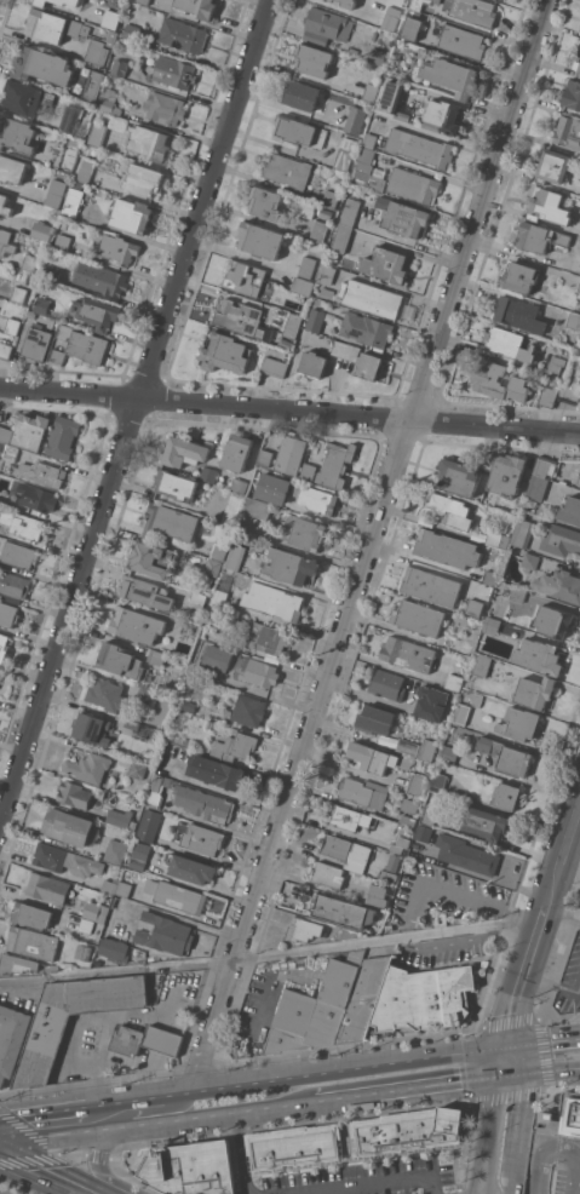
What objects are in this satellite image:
building: (69, 1)
building: (144, 1)
building: (41, 2)
building: (345, 2)
building: (415, 4)
building: (199, 7)
building: (475, 11)
building: (391, 18)
building: (111, 19)
building: (53, 25)
building: (326, 27)
building: (412, 28)
building: (130, 30)
building: (183, 35)
building: (111, 38)
building: (463, 41)
building: (97, 52)
building: (378, 56)
building: (314, 59)
building: (576, 61)
building: (117, 63)
building: (42, 65)
building: (174, 71)
building: (453, 76)
building: (92, 85)
building: (371, 92)
building: (302, 94)
building: (572, 94)
building: (23, 97)
building: (389, 97)
building: (108, 99)
building: (165, 108)
building: (444, 115)
building: (70, 119)
building: (355, 119)
building: (299, 131)
building: (568, 132)
building: (97, 133)
road: (430, 133)
building: (17, 134)
building: (368, 139)
building: (150, 143)
building: (420, 147)
building: (344, 150)
building: (579, 150)
building: (68, 157)
building: (552, 166)
building: (11, 168)
building: (86, 170)
building: (286, 170)
building: (368, 170)
building: (143, 179)
building: (414, 185)
building: (56, 193)
building: (331, 197)
building: (73, 202)
building: (265, 202)
building: (5, 205)
building: (547, 205)
building: (306, 207)
building: (350, 211)
building: (326, 213)
building: (132, 216)
building: (402, 217)
building: (41, 230)
building: (318, 230)
building: (340, 236)
building: (540, 237)
building: (260, 240)
building: (6, 242)
building: (62, 242)
building: (117, 248)
building: (29, 262)
building: (386, 264)
building: (306, 266)
building: (25, 272)
building: (52, 272)
building: (325, 274)
building: (243, 277)
building: (519, 277)
building: (101, 279)
building: (5, 286)
building: (302, 286)
building: (579, 288)
building: (269, 289)
building: (327, 292)
building: (18, 294)
building: (371, 297)
building: (40, 305)
building: (97, 312)
building: (30, 314)
building: (518, 314)
building: (240, 317)
building: (574, 320)
building: (12, 325)
building: (293, 325)
building: (350, 326)
building: (579, 335)
building: (36, 344)
building: (509, 344)
building: (80, 346)
building: (5, 350)
building: (346, 350)
building: (225, 354)
building: (314, 363)
building: (369, 366)
building: (556, 366)
building: (275, 367)
building: (498, 380)
building: (549, 394)
building: (569, 394)
road: (289, 411)
road: (136, 414)
building: (31, 431)
building: (5, 434)
building: (63, 436)
building: (185, 450)
building: (10, 452)
building: (237, 452)
building: (291, 454)
building: (265, 457)
building: (488, 460)
building: (337, 464)
building: (545, 465)
building: (310, 471)
building: (42, 472)
building: (209, 473)
building: (507, 473)
building: (459, 476)
building: (579, 482)
building: (240, 483)
building: (176, 484)
building: (272, 487)
building: (535, 493)
building: (40, 498)
building: (316, 499)
building: (488, 499)
building: (283, 500)
building: (232, 507)
building: (257, 507)
building: (452, 510)
building: (570, 510)
building: (170, 521)
building: (24, 523)
building: (206, 529)
building: (309, 532)
building: (521, 532)
building: (478, 536)
building: (240, 538)
building: (498, 539)
building: (559, 539)
road: (373, 544)
building: (447, 549)
building: (219, 550)
building: (19, 555)
building: (234, 557)
building: (149, 558)
building: (530, 561)
building: (291, 566)
building: (213, 567)
building: (490, 576)
building: (559, 584)
building: (430, 585)
building: (13, 586)
building: (145, 591)
building: (222, 593)
building: (517, 593)
building: (197, 599)
building: (274, 601)
building: (218, 609)
building: (7, 614)
building: (417, 616)
building: (555, 620)
building: (136, 624)
building: (490, 625)
building: (212, 632)
building: (269, 638)
building: (4, 647)
building: (408, 654)
building: (156, 656)
building: (539, 656)
building: (218, 658)
building: (122, 661)
building: (179, 661)
building: (482, 665)
building: (258, 672)
building: (454, 682)
building: (387, 684)
building: (535, 691)
building: (105, 694)
building: (145, 694)
building: (475, 696)
building: (431, 702)
building: (186, 705)
building: (248, 710)
building: (461, 713)
building: (374, 718)
building: (519, 723)
building: (92, 728)
building: (134, 729)
building: (463, 739)
building: (234, 746)
building: (427, 750)
building: (448, 753)
building: (506, 756)
building: (377, 757)
building: (88, 767)
building: (137, 769)
building: (163, 770)
building: (216, 771)
building: (438, 779)
building: (418, 785)
building: (159, 790)
building: (363, 792)
building: (74, 793)
building: (507, 796)
building: (203, 803)
building: (410, 805)
building: (430, 808)
building: (119, 817)
building: (350, 817)
building: (408, 820)
building: (484, 822)
building: (149, 825)
building: (68, 826)
road: (576, 832)
building: (423, 833)
building: (202, 842)
building: (395, 845)
building: (115, 851)
building: (346, 851)
building: (466, 854)
building: (139, 855)
building: (65, 860)
building: (392, 862)
road: (562, 865)
building: (191, 868)
building: (327, 874)
building: (389, 874)
building: (110, 885)
building: (48, 888)
building: (122, 888)
building: (378, 894)
building: (179, 896)
building: (93, 908)
road: (564, 908)
building: (338, 909)
building: (31, 914)
road: (186, 922)
building: (86, 925)
building: (389, 928)
building: (303, 929)
building: (163, 932)
building: (348, 932)
building: (33, 942)
building: (114, 948)
building: (82, 952)
building: (368, 952)
road: (271, 954)
building: (16, 964)
building: (51, 968)
road: (523, 982)
building: (424, 998)
building: (364, 999)
building: (322, 1003)
road: (253, 1022)
building: (11, 1039)
building: (163, 1039)
building: (127, 1040)
road: (546, 1041)
traffic signals: (512, 1046)
building: (42, 1049)
road: (415, 1060)
road: (512, 1061)
road: (545, 1073)
traffic signals: (512, 1077)
road: (259, 1081)
road: (413, 1089)
road: (162, 1095)
road: (105, 1103)
road: (156, 1106)
road: (254, 1109)
road: (527, 1110)
road: (41, 1113)
road: (157, 1123)
road: (488, 1127)
building: (407, 1130)
road: (61, 1136)
building: (293, 1144)
road: (542, 1148)
building: (557, 1150)
road: (239, 1154)
road: (98, 1158)
building: (190, 1169)
road: (46, 1171)
road: (519, 1172)
road: (578, 1176)
road: (375, 1183)
road: (472, 1190)
road: (479, 1190)
road: (482, 1190)

